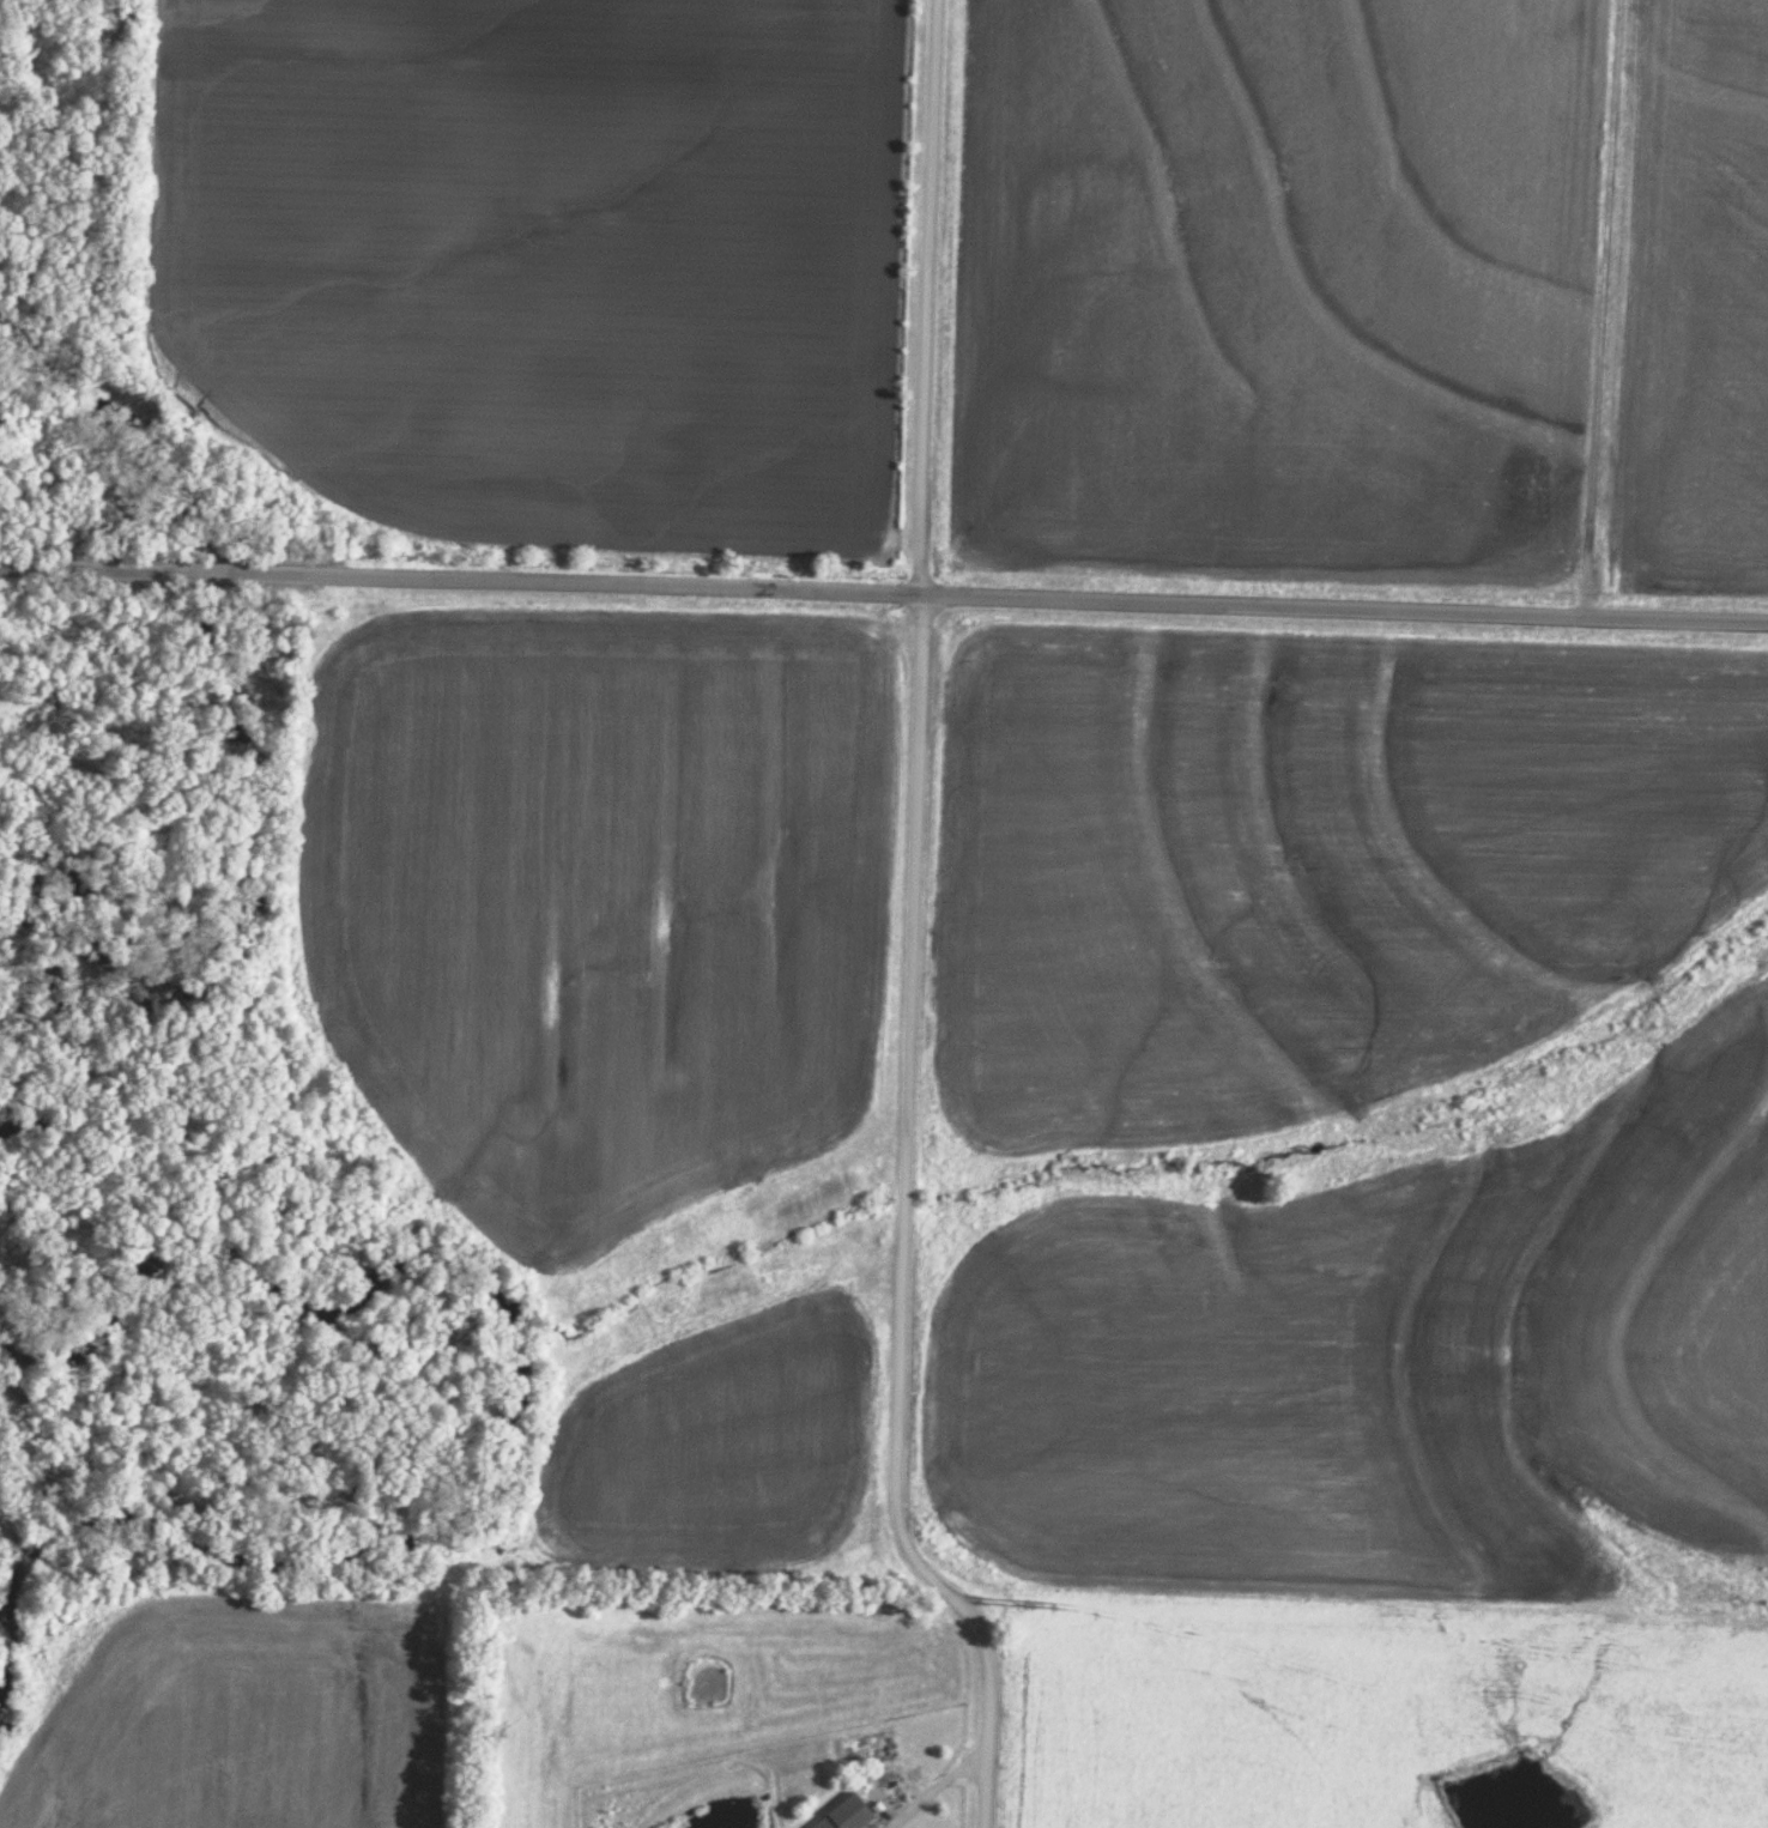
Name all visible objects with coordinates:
building: (1586, 255)
road: (1628, 313)
road: (884, 600)
road: (913, 933)
road: (936, 1785)
building: (846, 1814)

